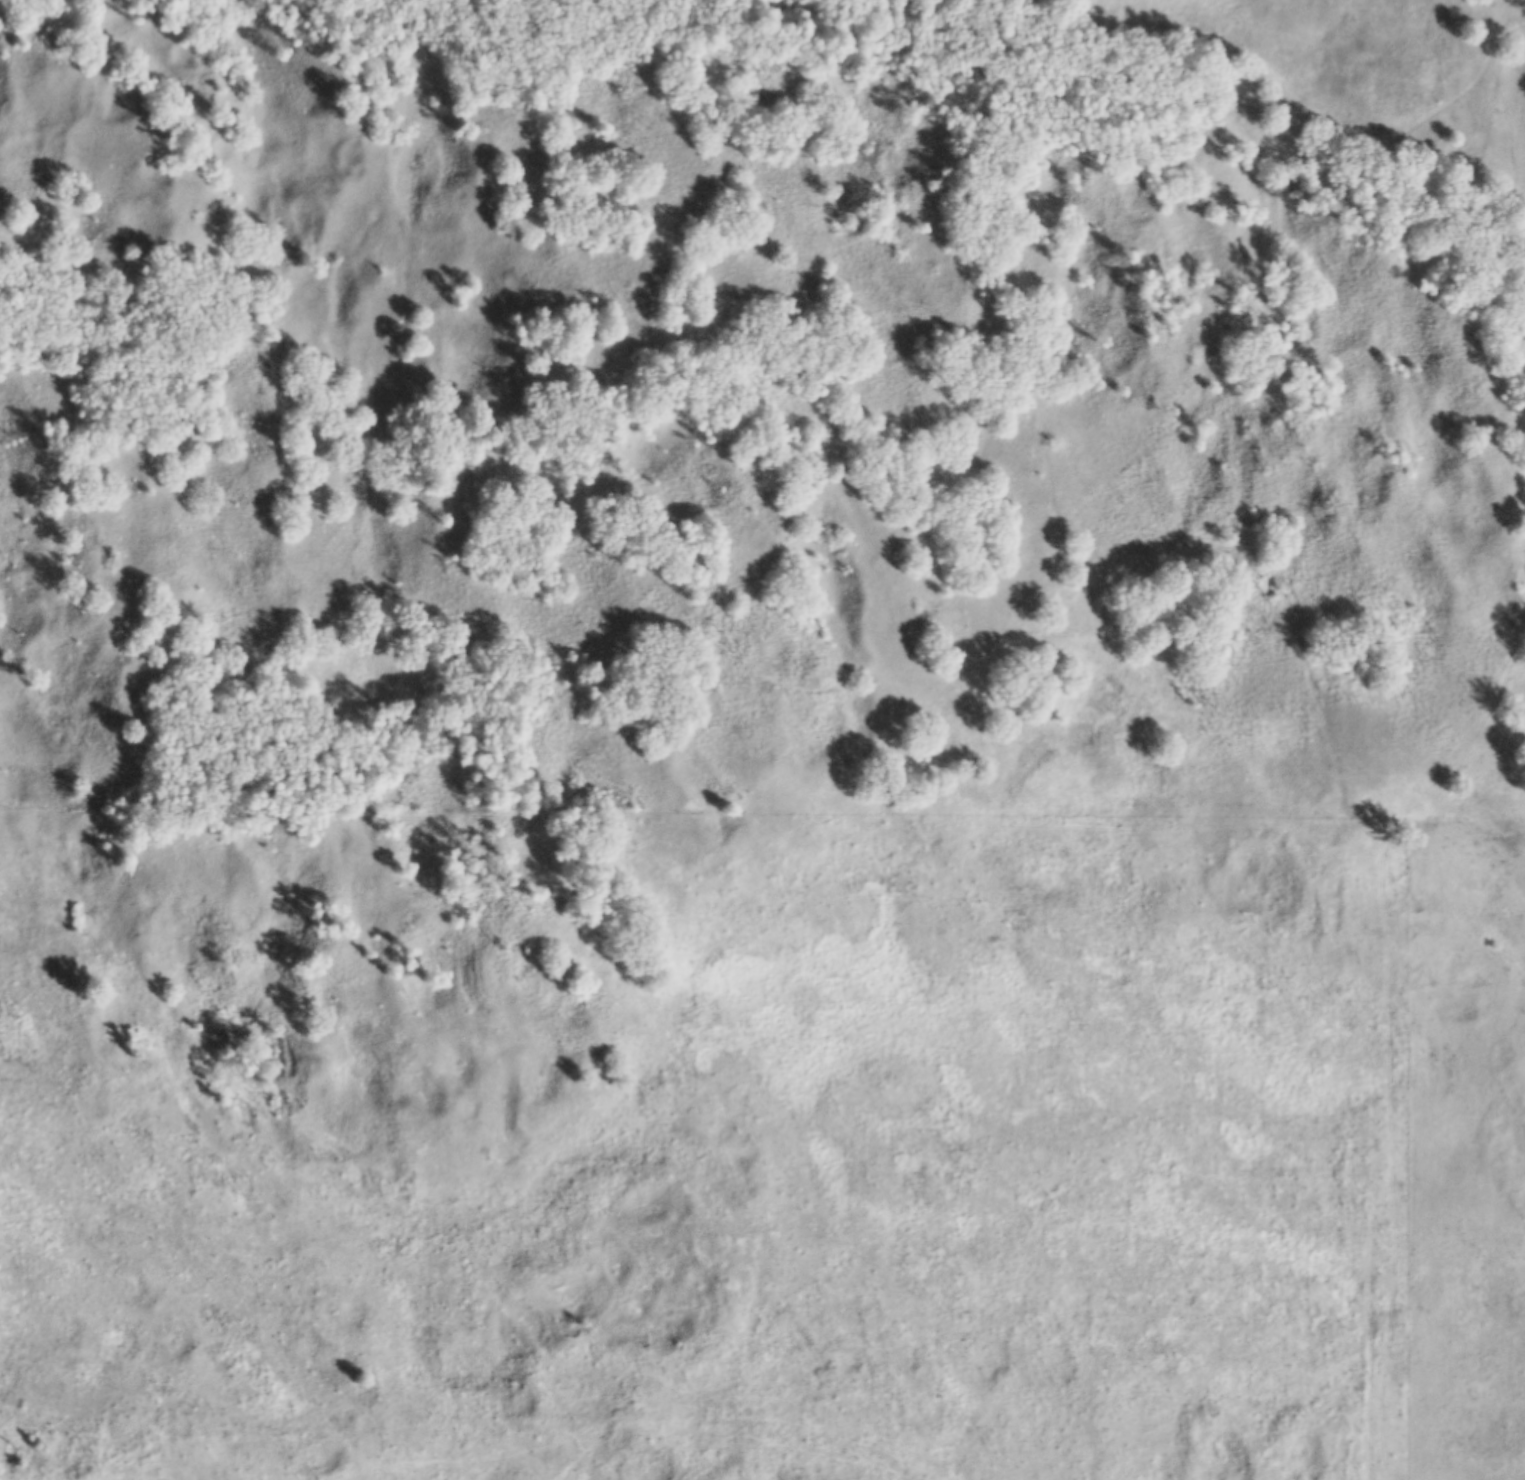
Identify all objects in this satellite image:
road: (1284, 100)

